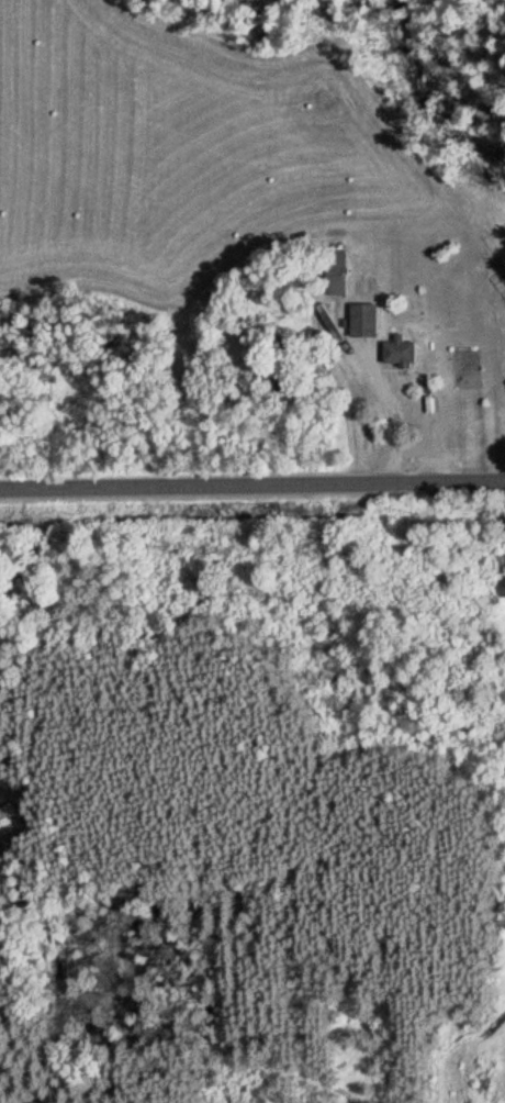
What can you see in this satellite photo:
building: (333, 272)
building: (360, 320)
building: (395, 352)
road: (252, 491)
building: (501, 588)

